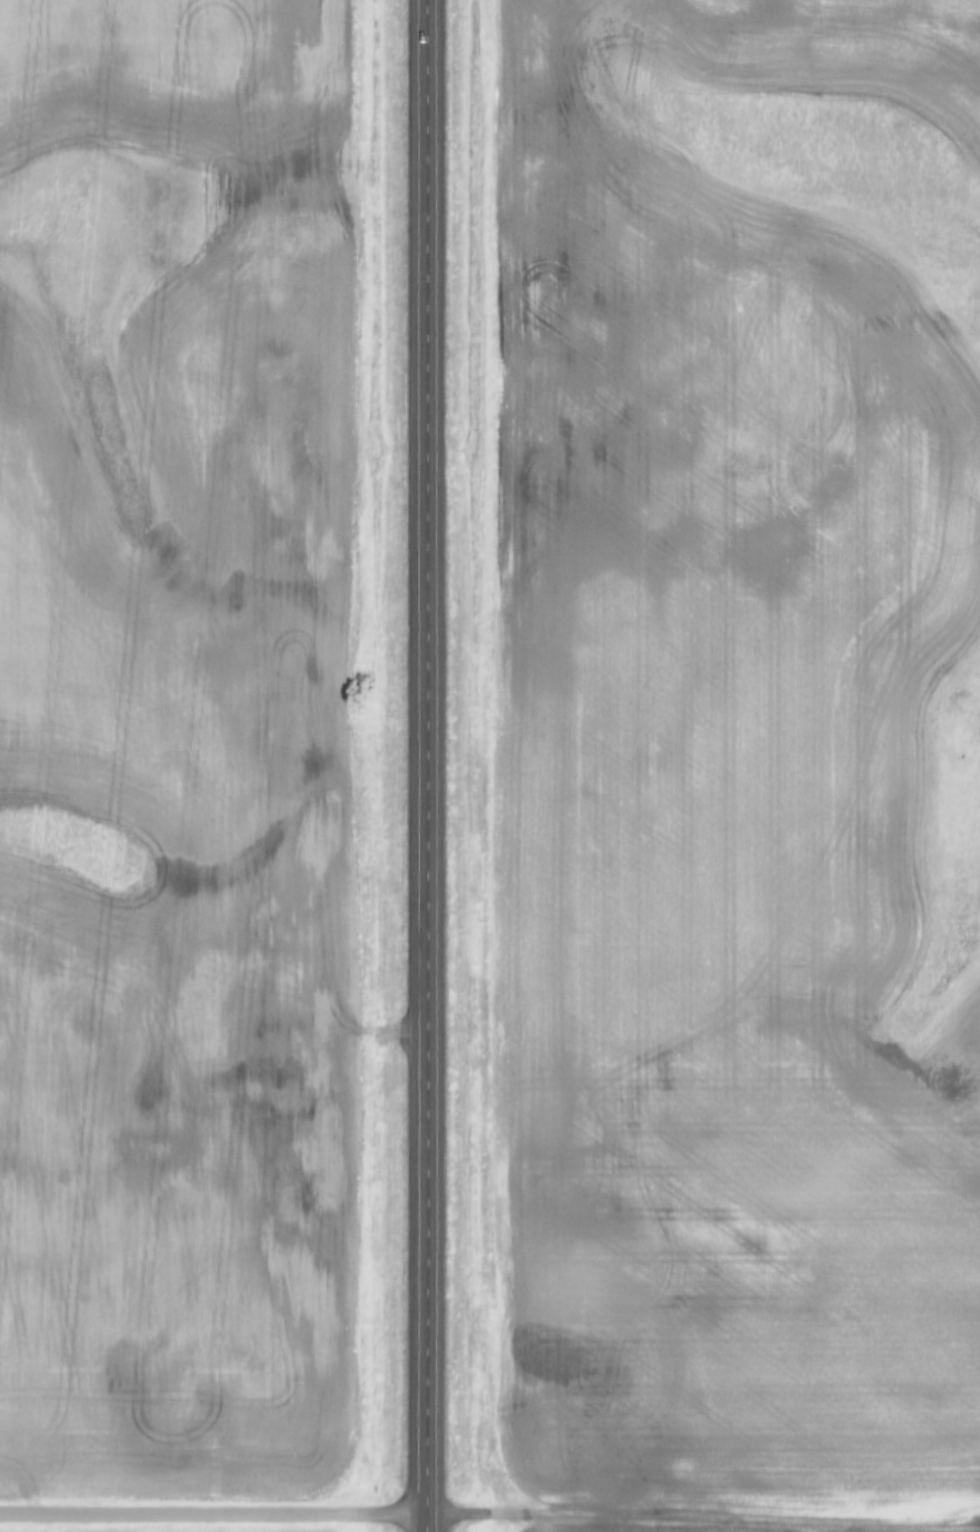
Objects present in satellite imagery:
road: (441, 766)
road: (218, 1512)

